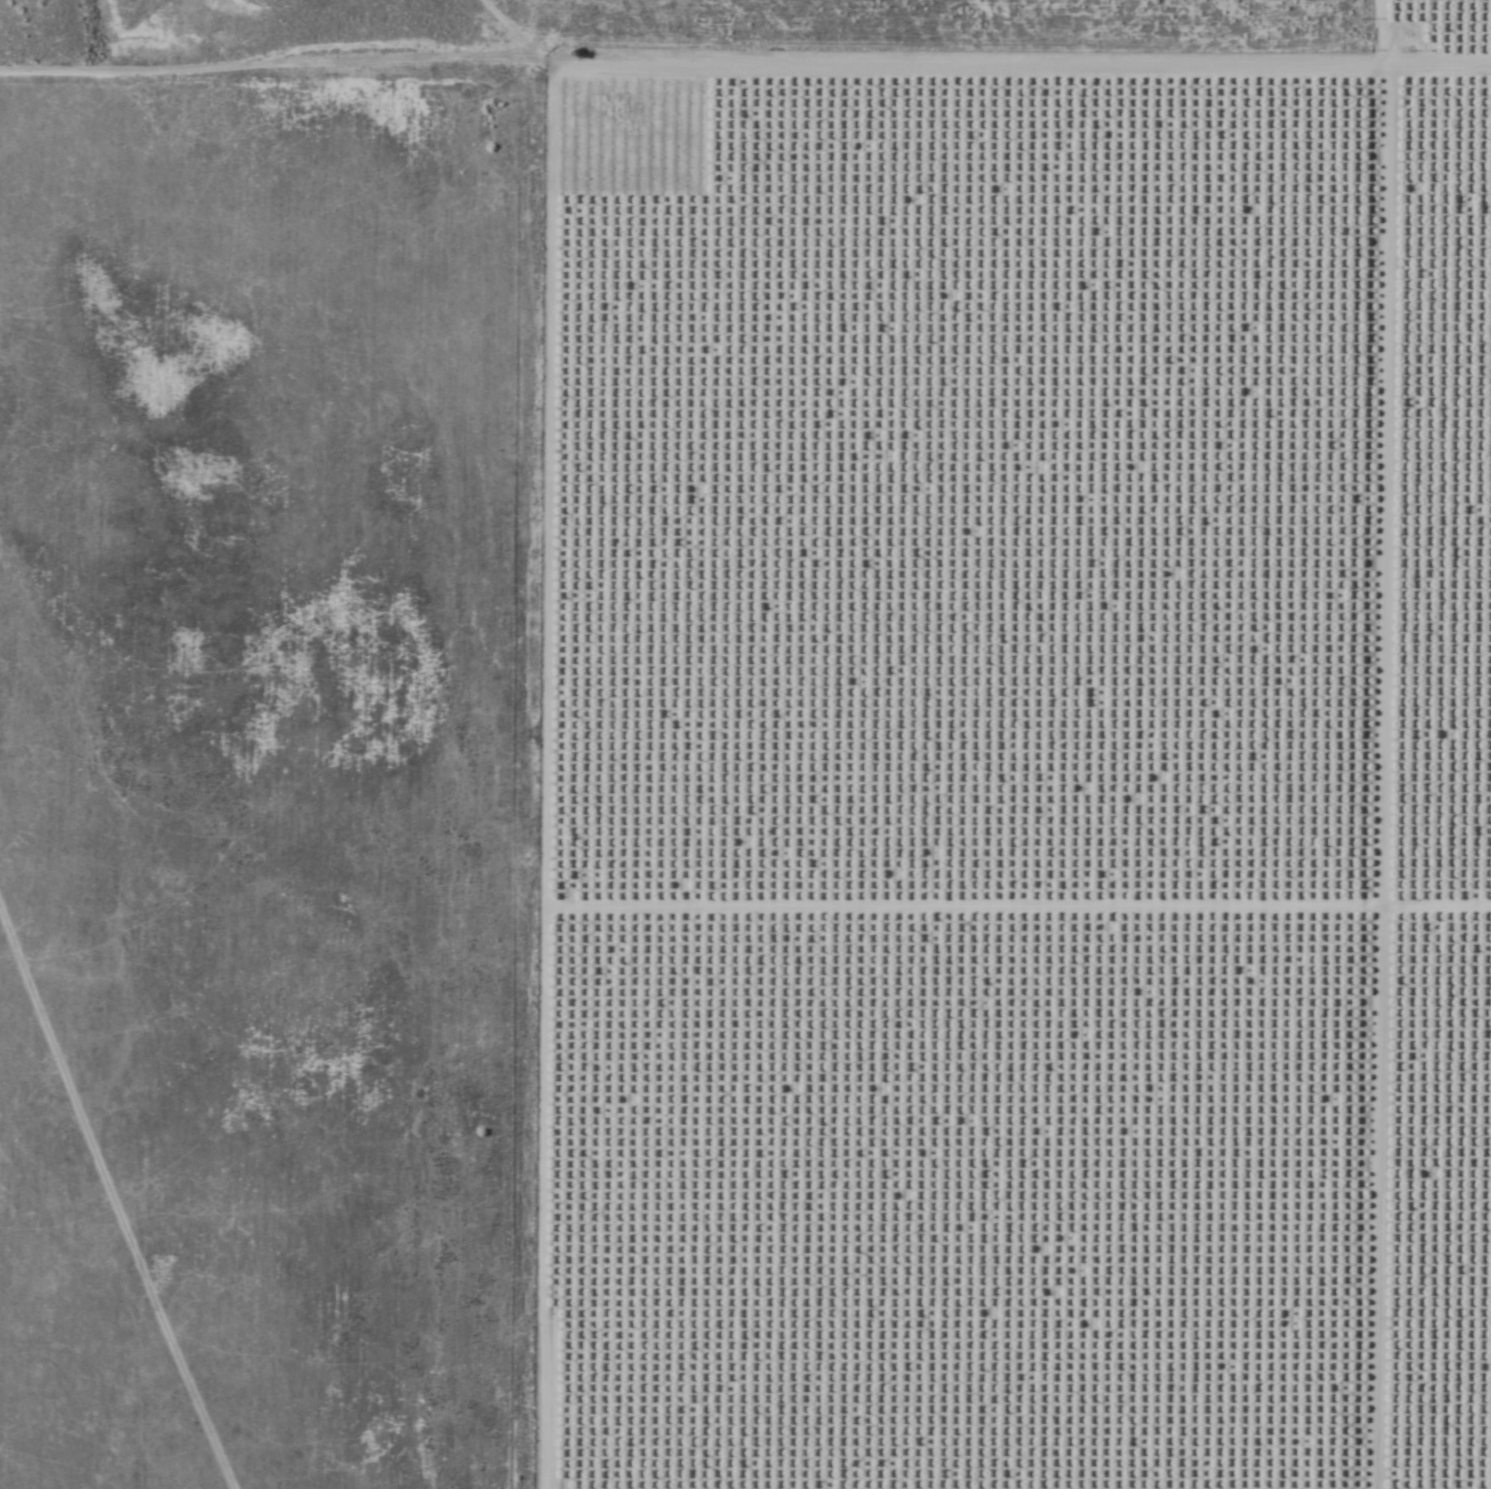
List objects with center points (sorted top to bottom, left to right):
road: (1430, 48)
road: (1368, 744)

